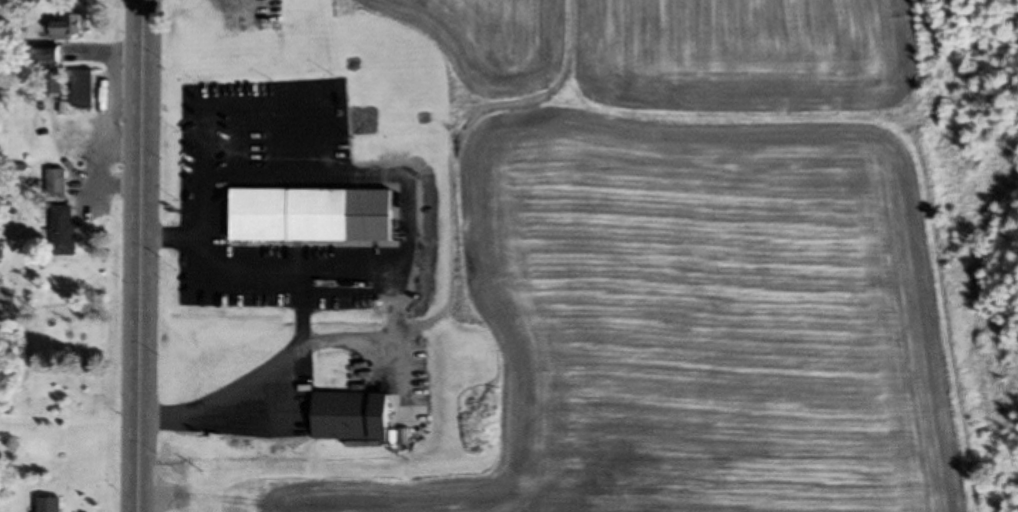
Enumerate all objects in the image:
building: (226, 14)
building: (74, 24)
building: (87, 86)
building: (60, 181)
road: (145, 185)
building: (295, 212)
building: (68, 229)
building: (358, 414)
road: (142, 441)
building: (55, 503)

